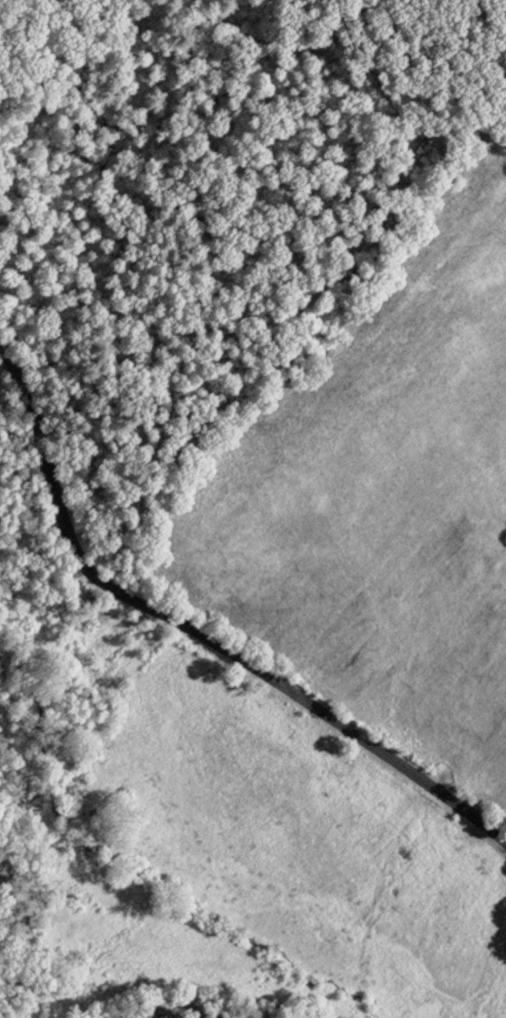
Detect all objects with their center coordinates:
road: (199, 639)

